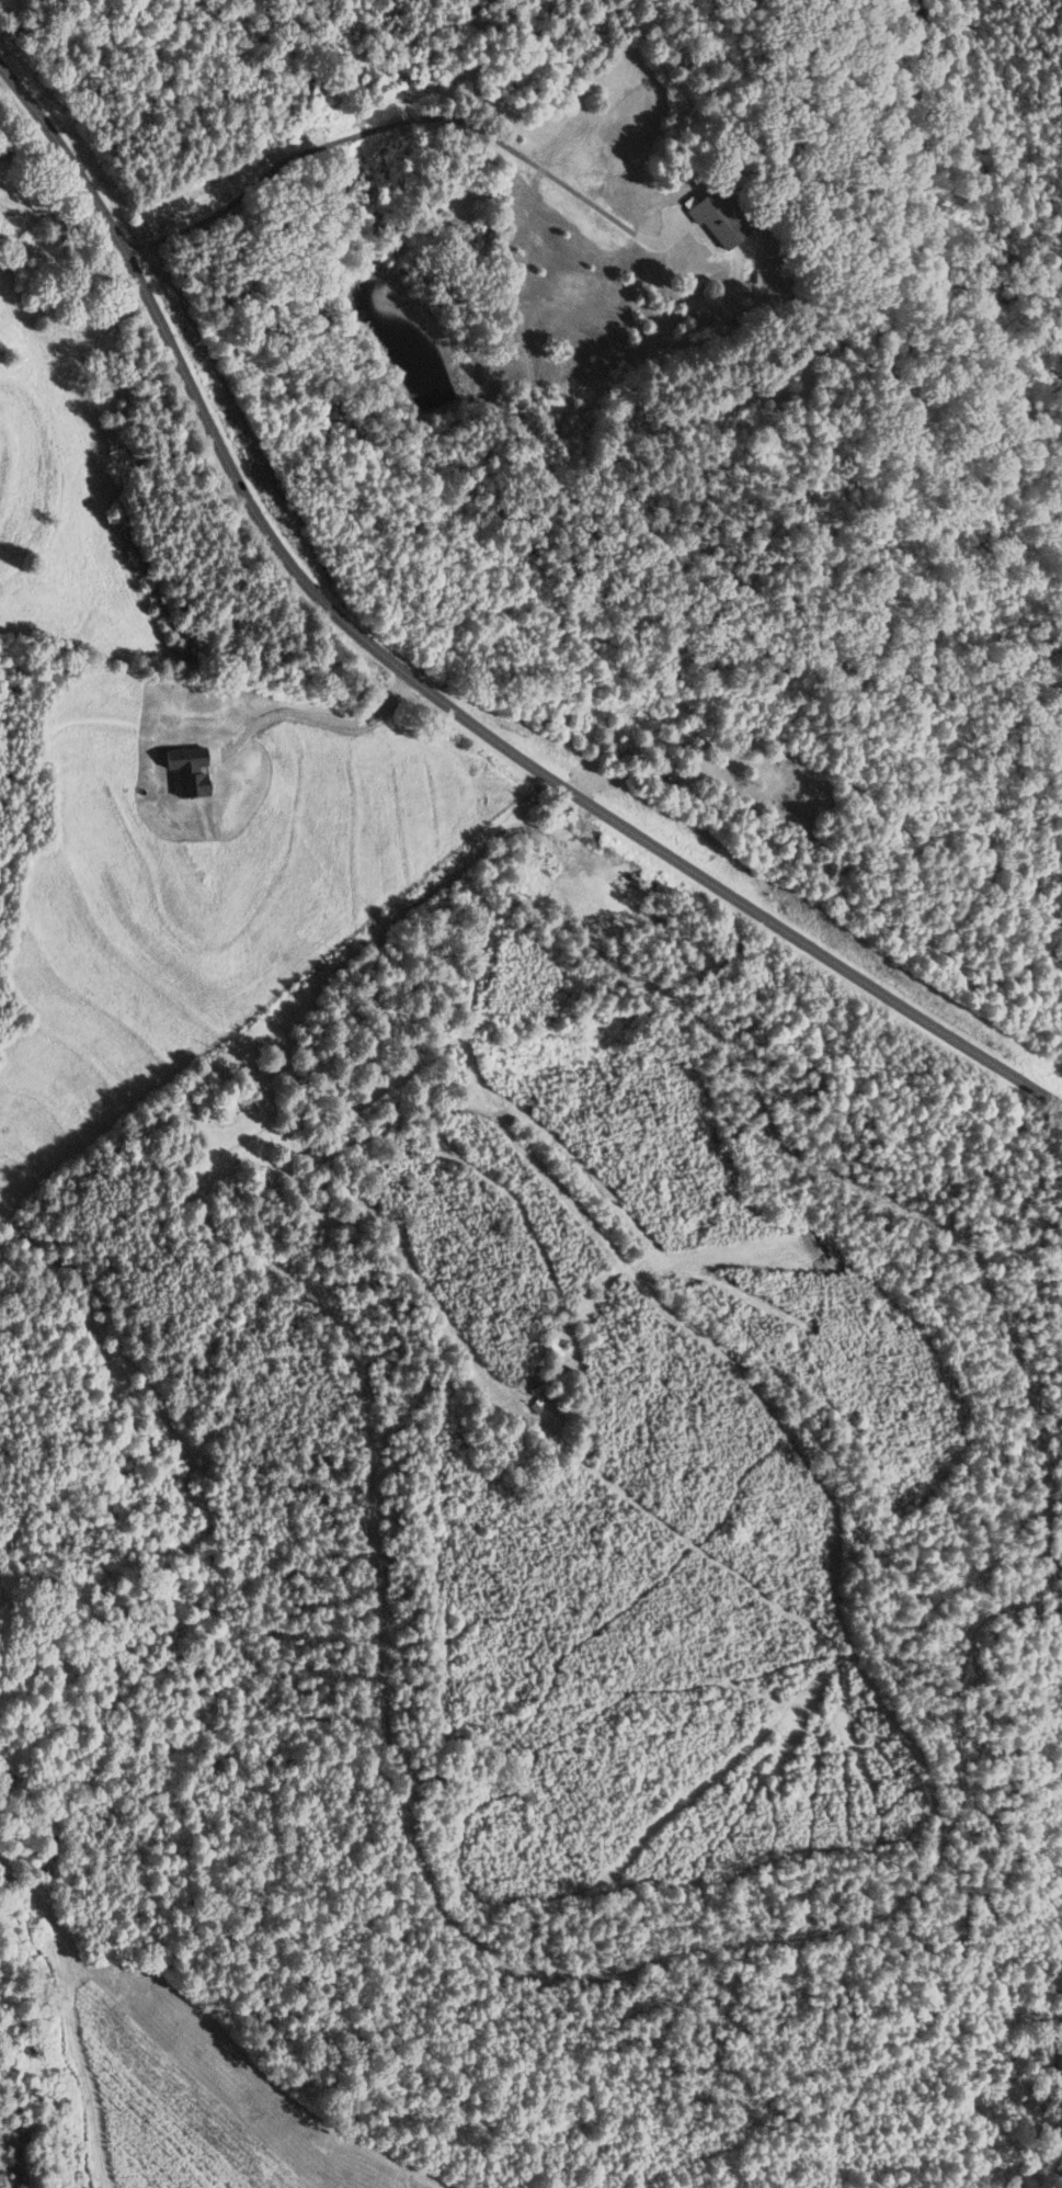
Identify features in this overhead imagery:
building: (4, 150)
building: (715, 222)
building: (781, 401)
road: (176, 579)
road: (438, 677)
road: (307, 706)
building: (551, 1347)
road: (115, 1363)

